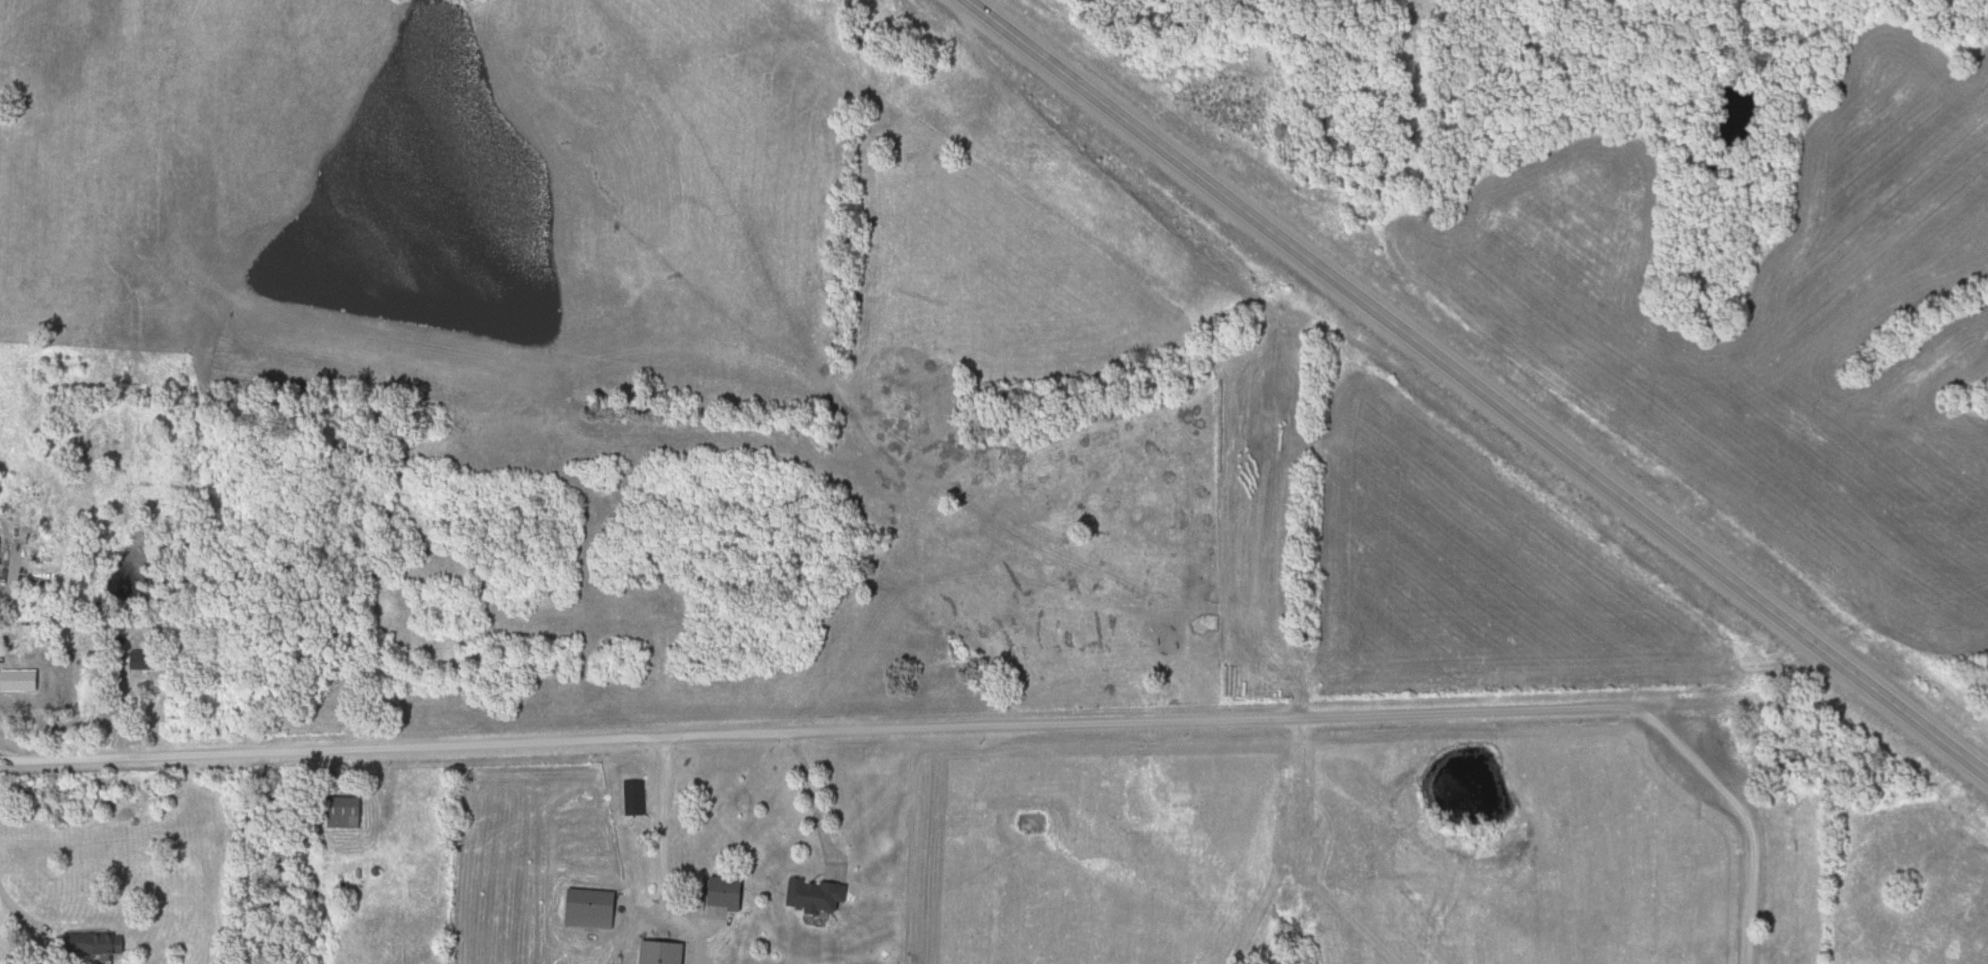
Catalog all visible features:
crop: (1771, 340)
road: (1474, 388)
crop: (1474, 580)
building: (16, 683)
road: (969, 726)
building: (631, 798)
road: (816, 798)
building: (340, 813)
road: (663, 857)
building: (718, 893)
building: (811, 895)
road: (26, 919)
building: (91, 944)

